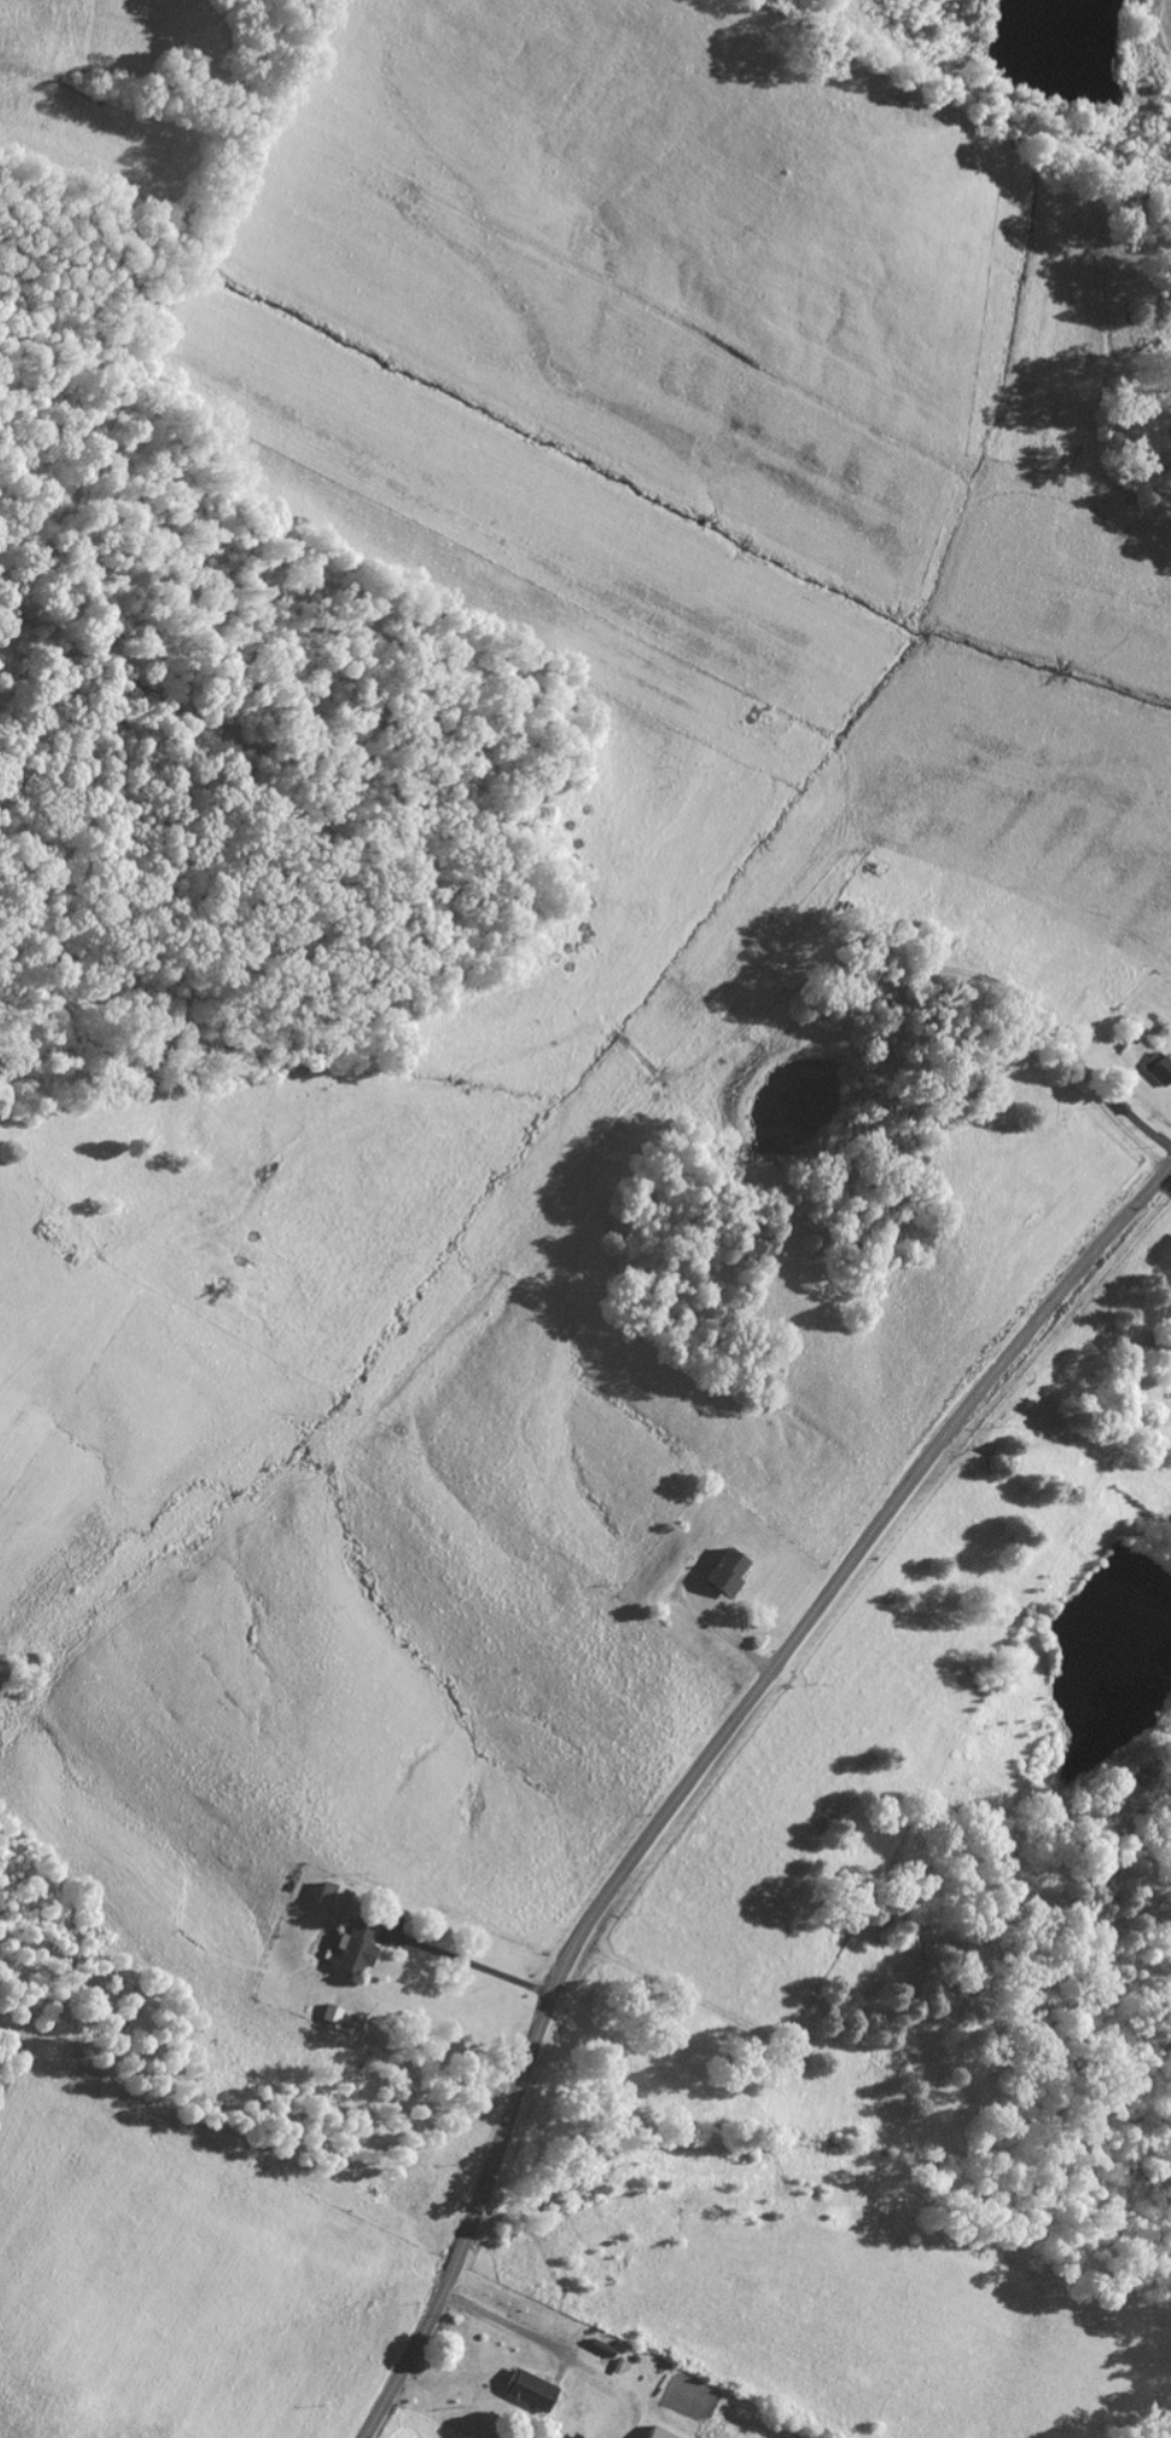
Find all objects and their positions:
building: (969, 944)
road: (842, 961)
building: (1129, 1030)
building: (1160, 1068)
building: (1116, 1100)
road: (1148, 1129)
building: (725, 1570)
road: (719, 1631)
road: (700, 1761)
building: (329, 1893)
building: (359, 1925)
building: (353, 1952)
road: (466, 1960)
building: (328, 2013)
road: (503, 2319)
building: (599, 2354)
building: (617, 2362)
building: (528, 2386)
building: (658, 2432)

